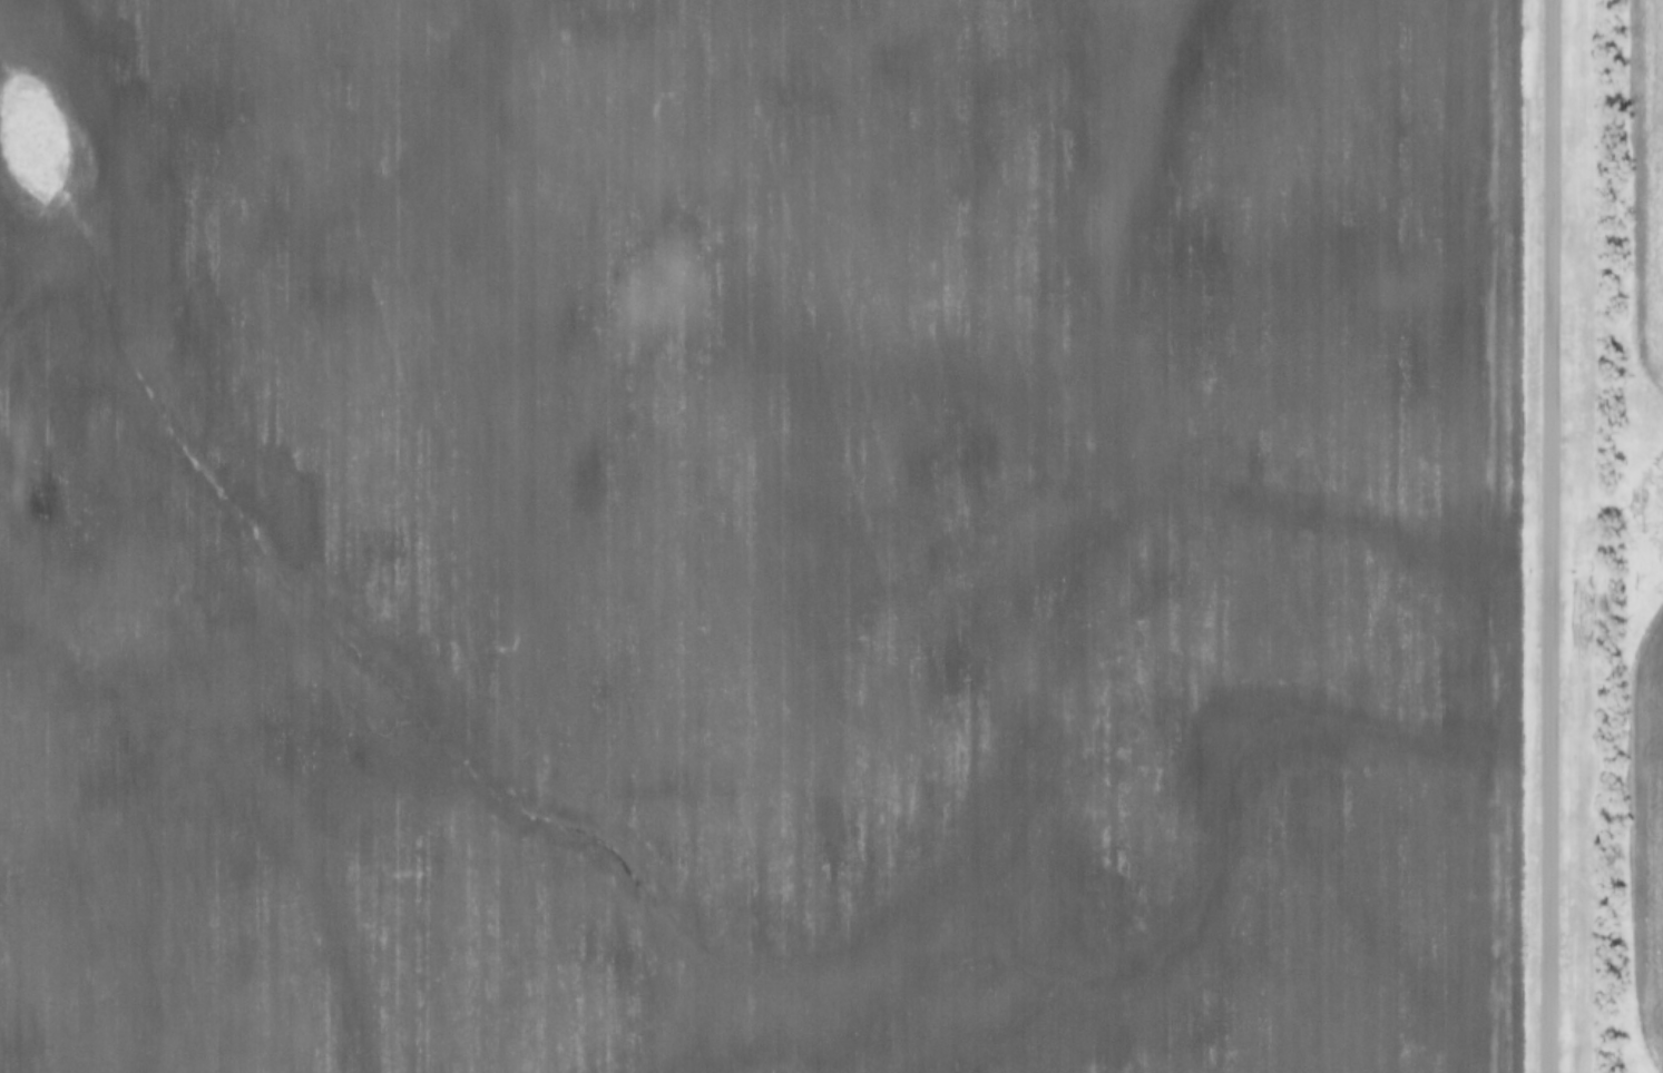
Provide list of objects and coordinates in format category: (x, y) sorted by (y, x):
road: (1553, 536)

